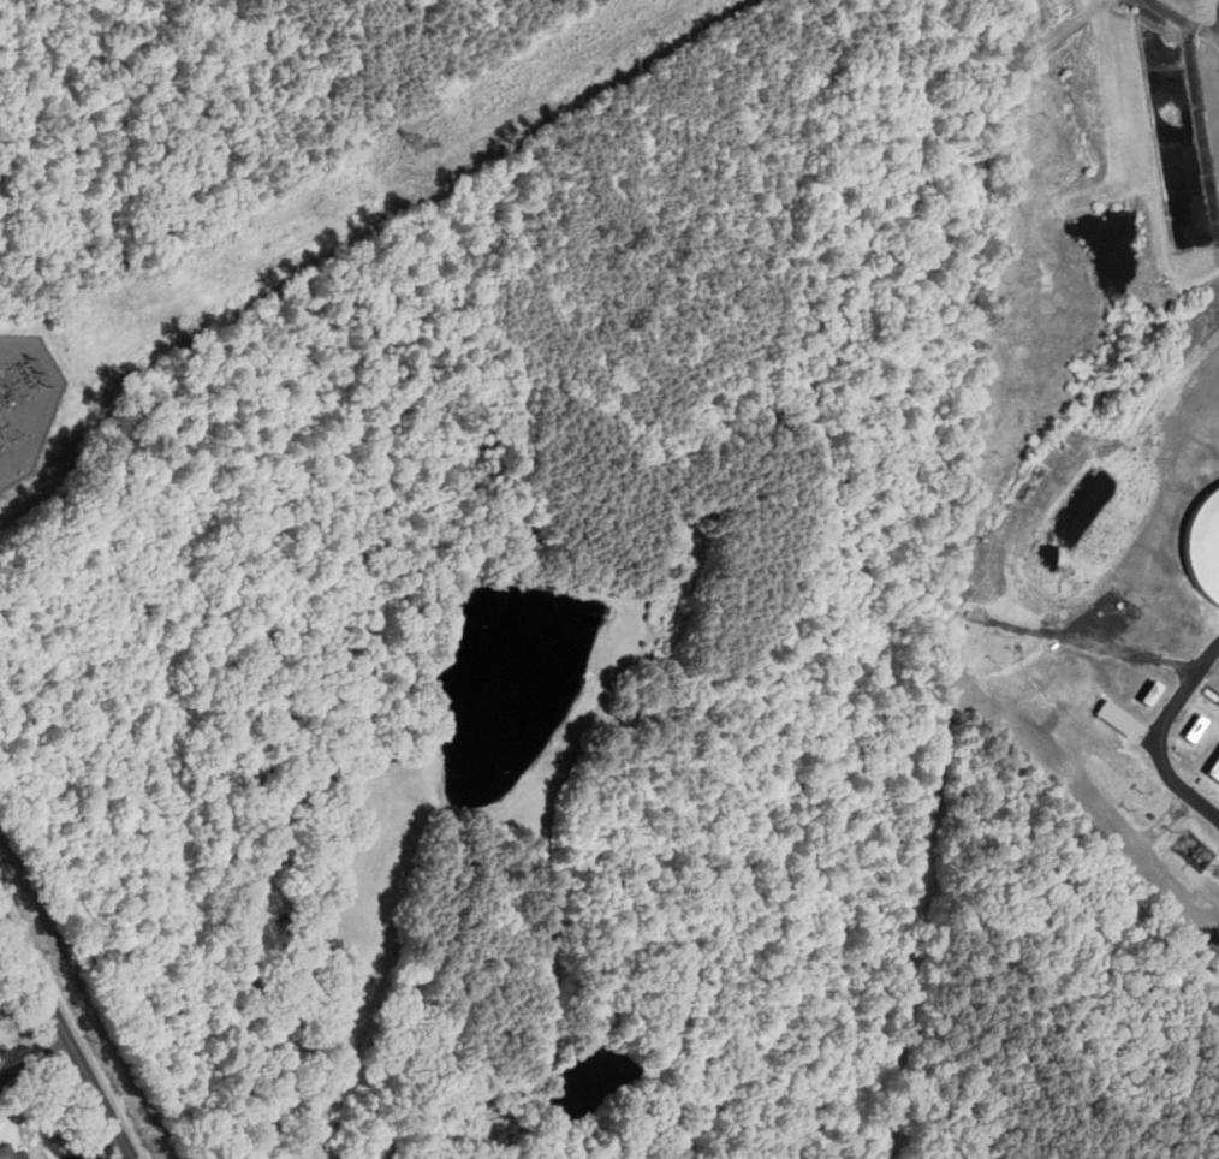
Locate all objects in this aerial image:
road: (1190, 17)
power tower: (418, 144)
power substation: (25, 402)
building: (1205, 546)
storage tank: (1205, 546)
building: (1113, 714)
road: (1167, 741)
building: (1214, 766)
road: (66, 1034)
building: (11, 1153)

